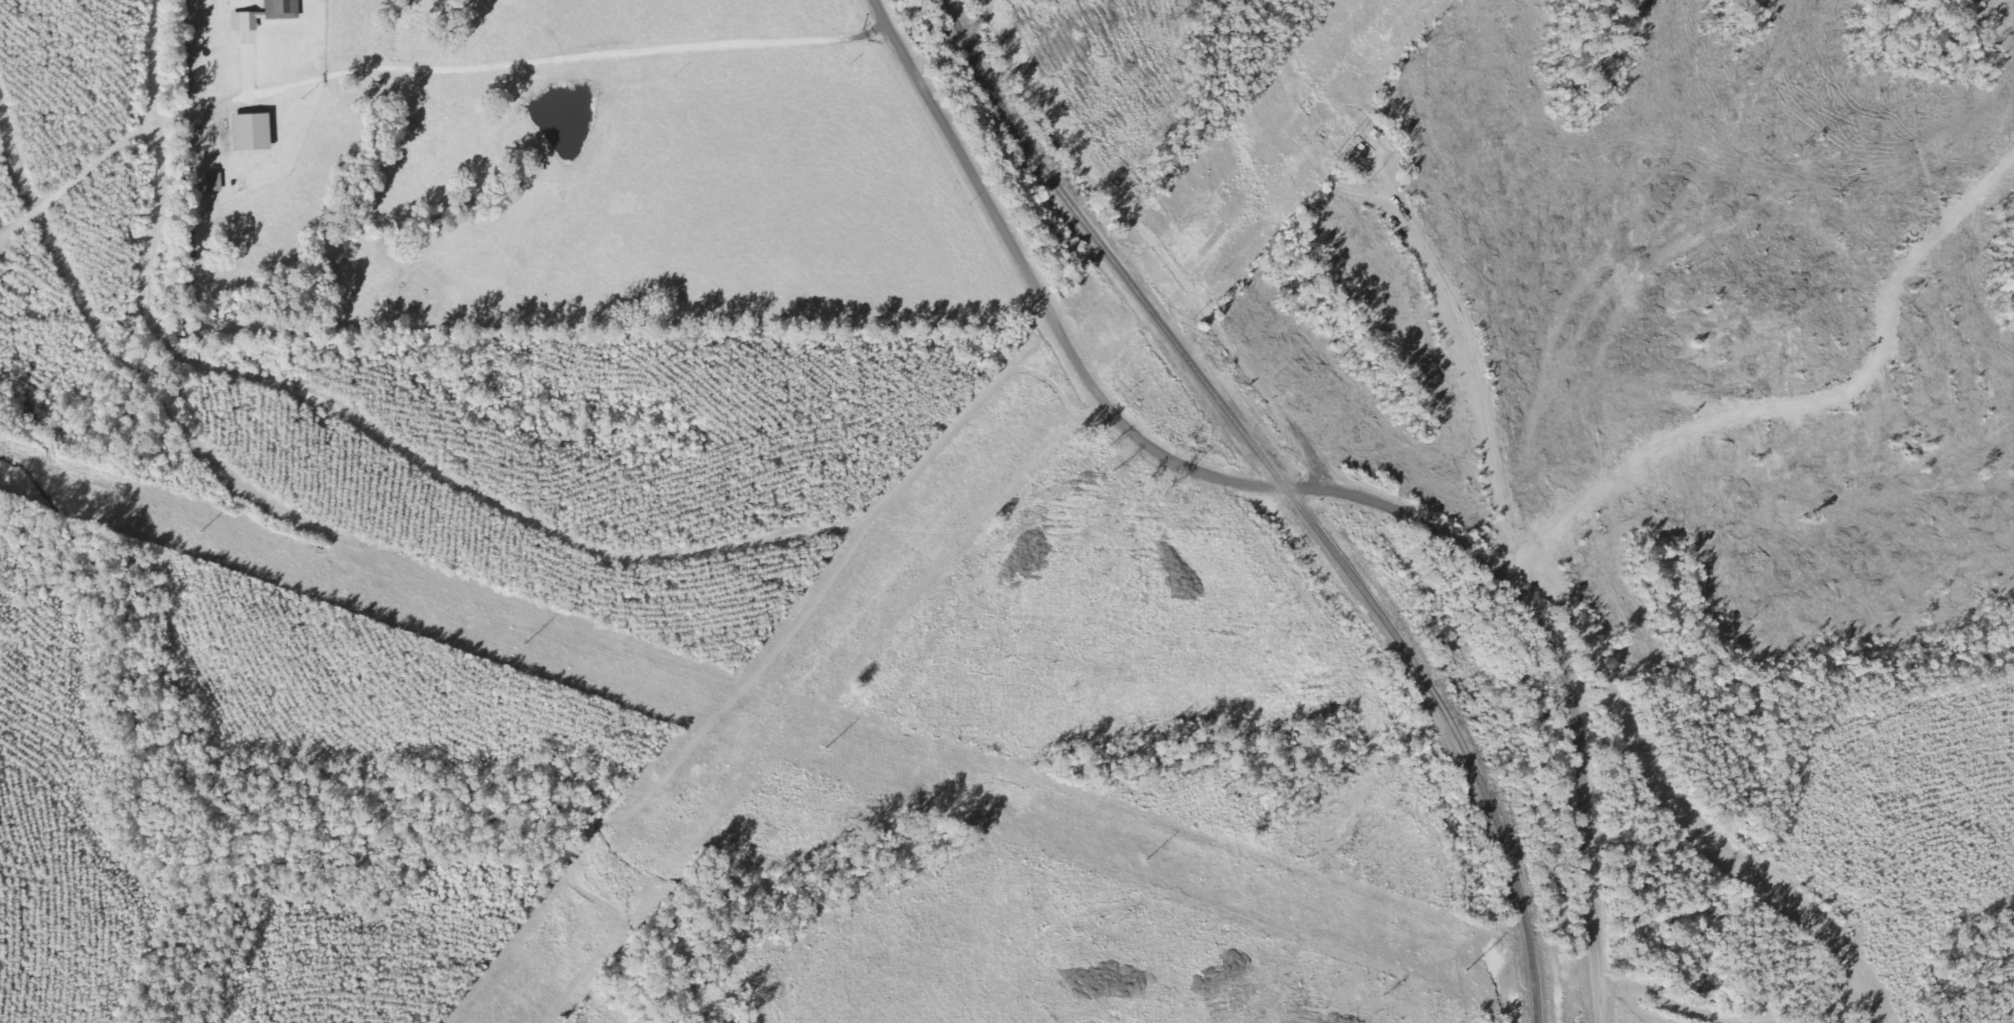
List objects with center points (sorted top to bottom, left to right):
building: (284, 9)
building: (247, 22)
road: (542, 59)
building: (255, 133)
building: (215, 182)
railway: (1285, 489)
road: (1301, 490)
road: (603, 535)

